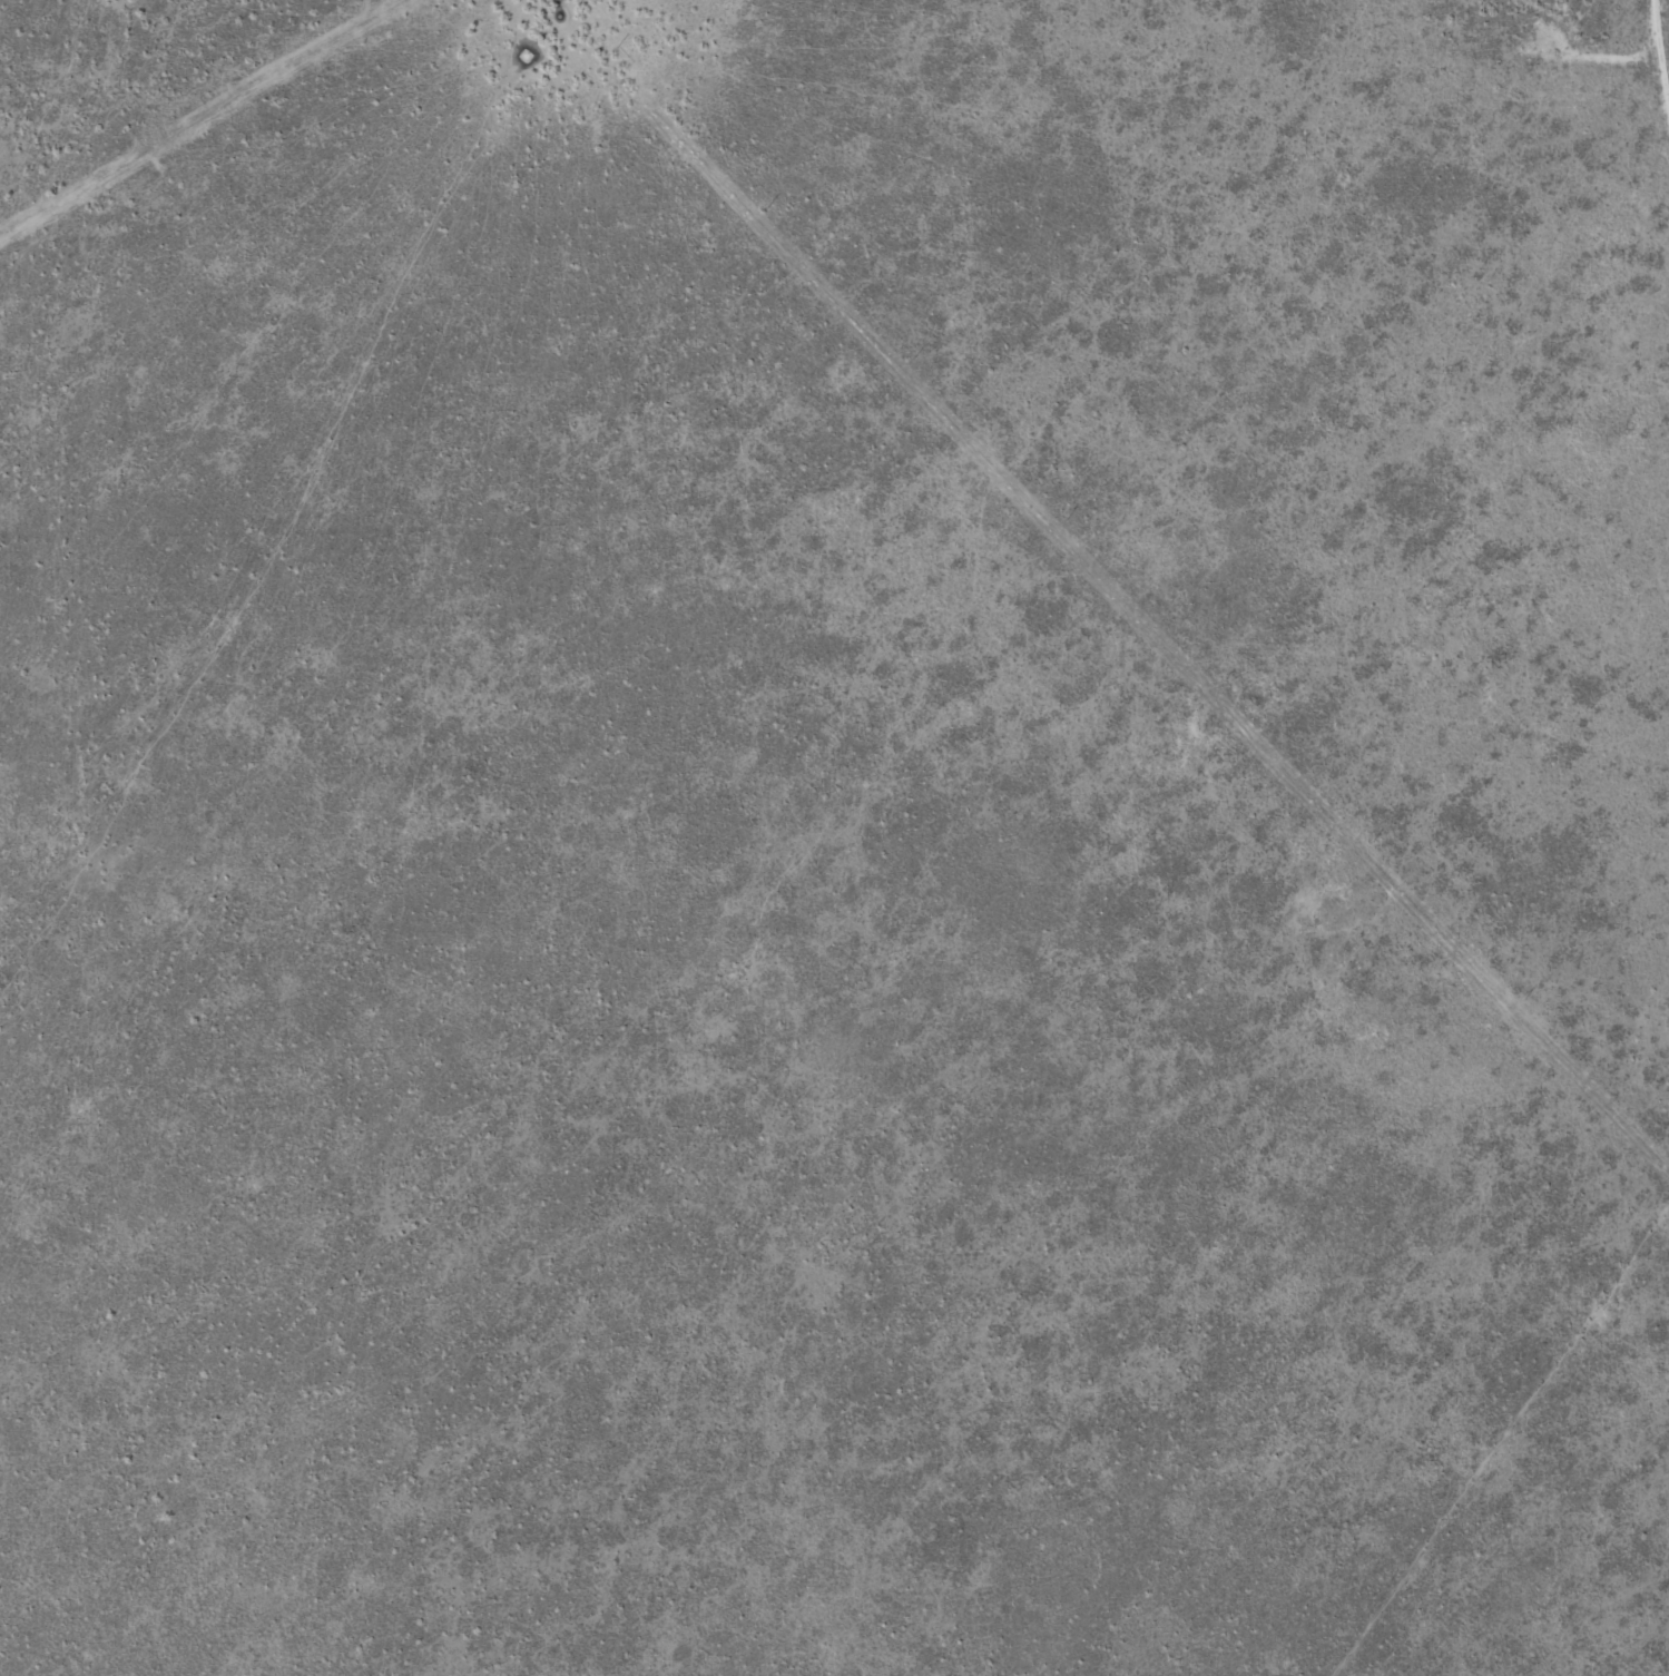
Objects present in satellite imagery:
road: (1616, 46)

